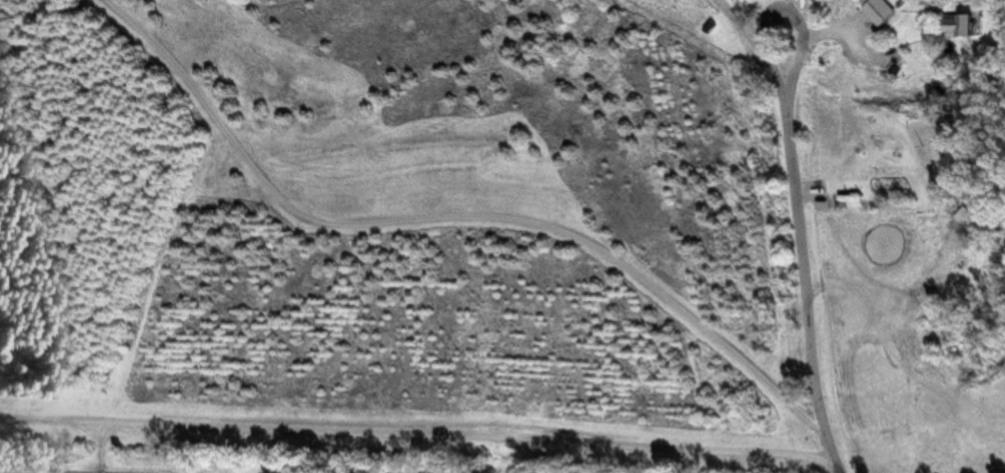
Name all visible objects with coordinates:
building: (882, 14)
building: (964, 29)
road: (450, 218)
road: (802, 284)

